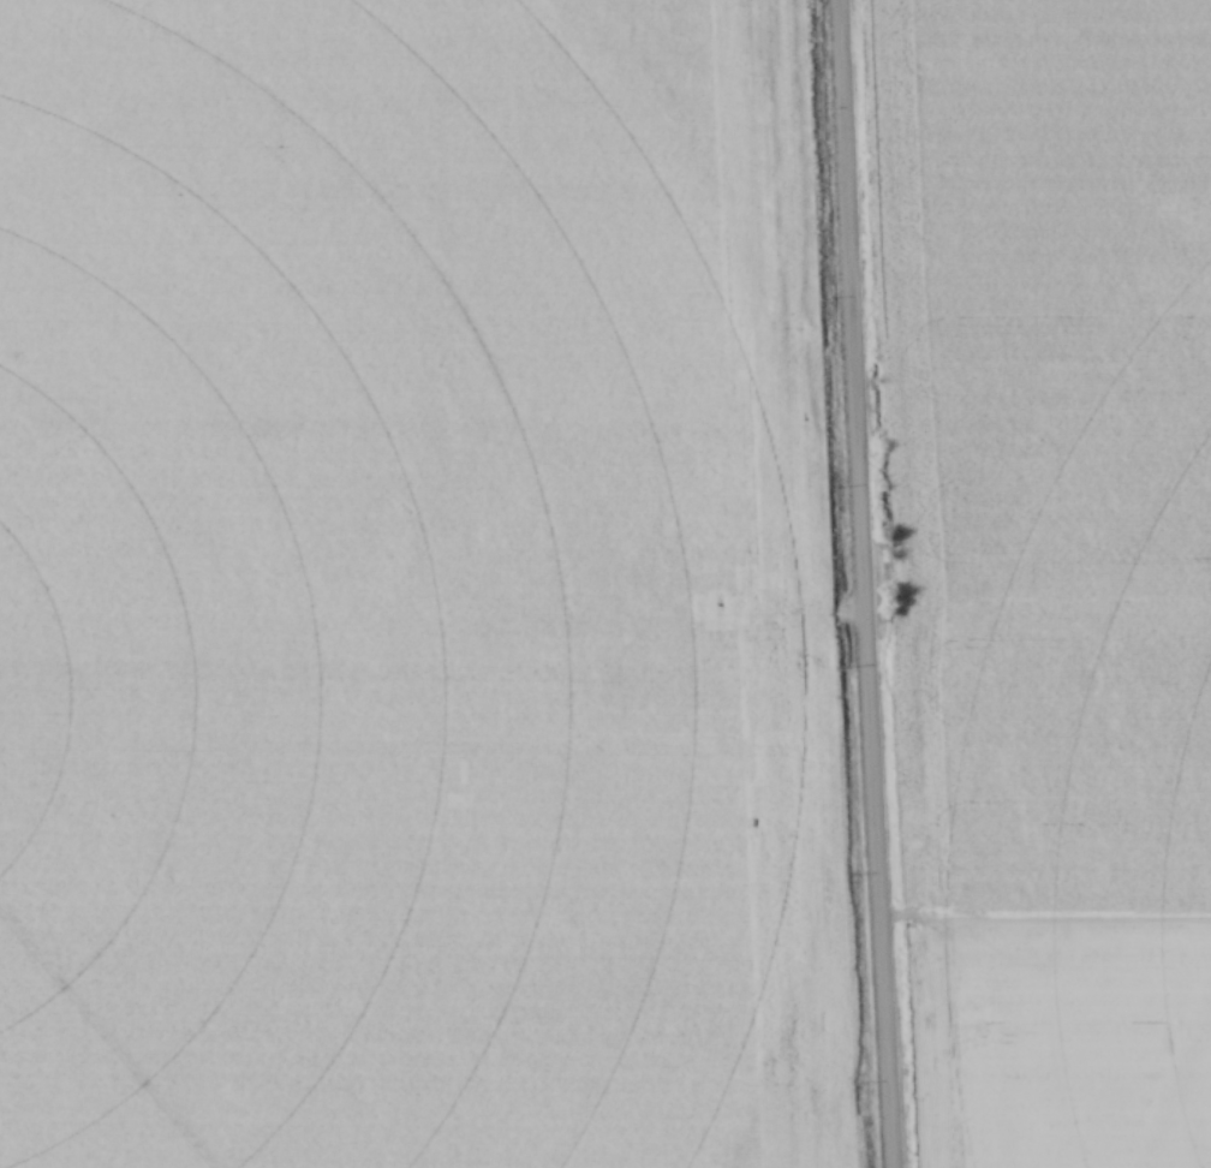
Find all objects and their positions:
road: (855, 584)

